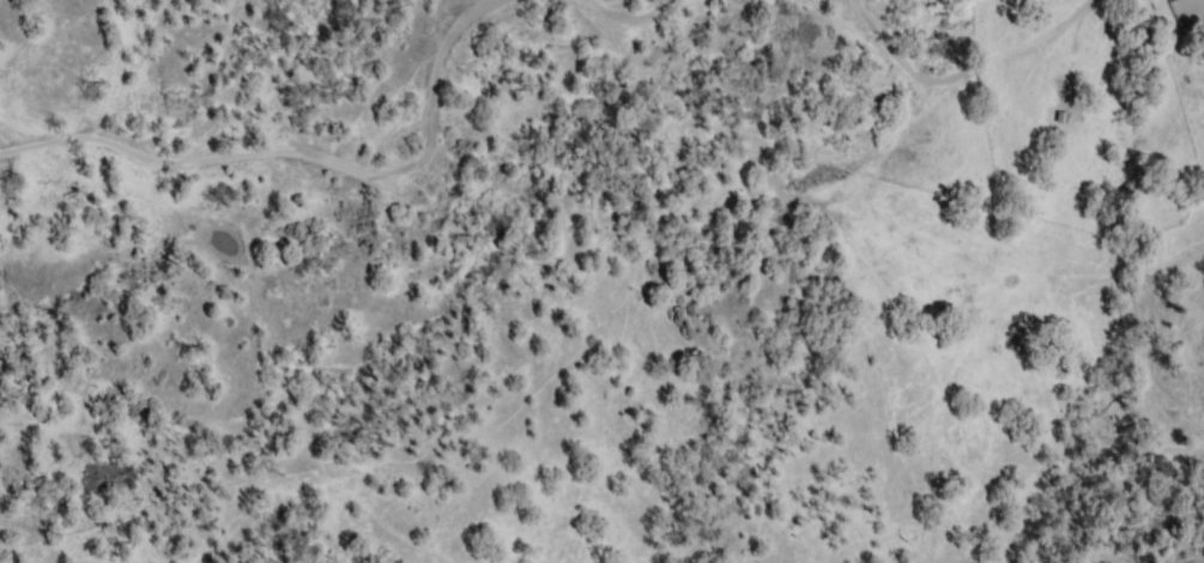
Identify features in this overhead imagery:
road: (1197, 153)

